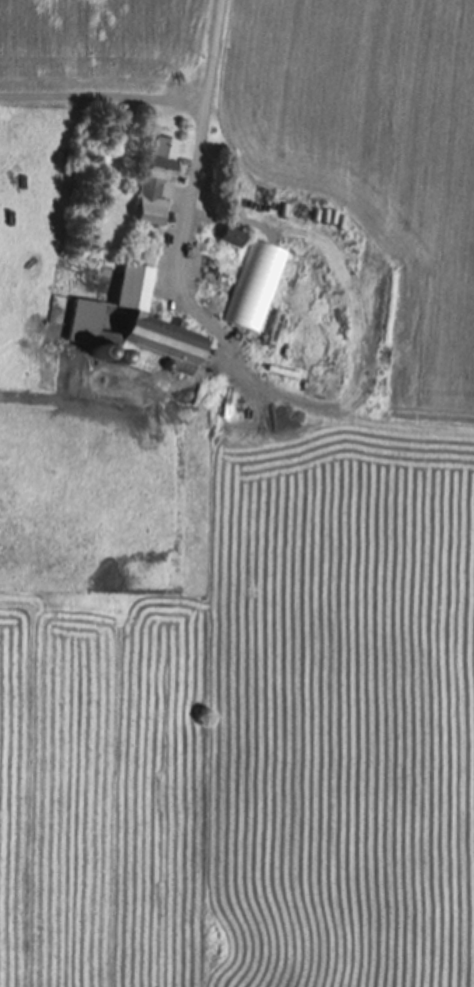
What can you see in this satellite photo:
road: (100, 94)
road: (197, 122)
building: (144, 182)
building: (221, 238)
building: (249, 290)
building: (130, 324)

